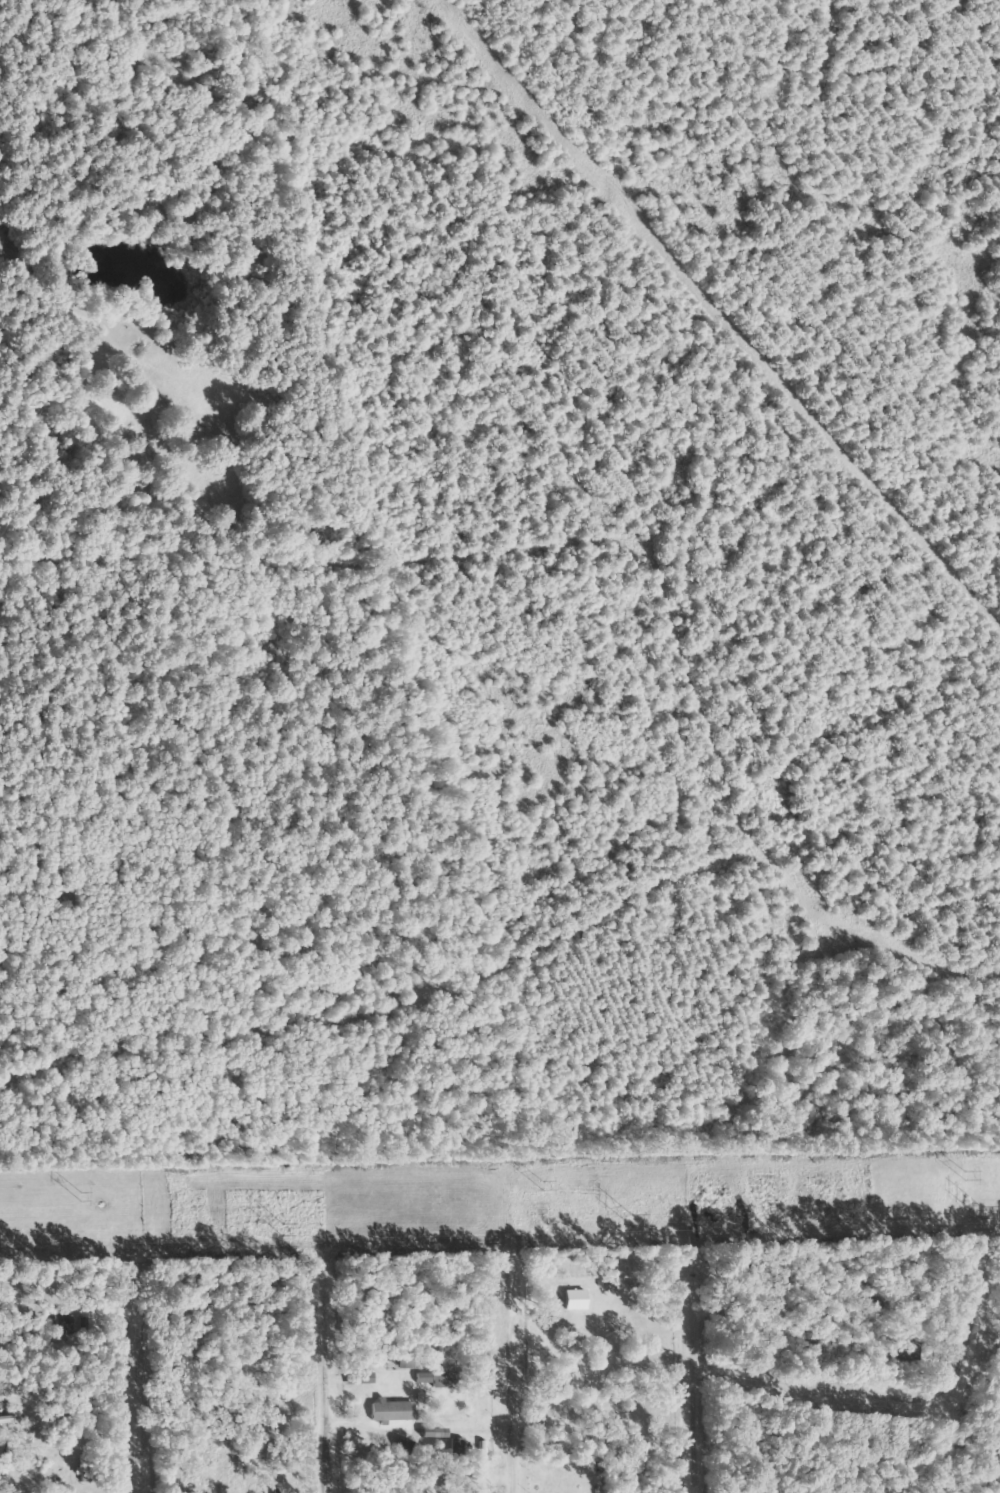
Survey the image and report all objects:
power tower: (961, 1172)
power tower: (537, 1183)
power tower: (72, 1190)
power tower: (976, 1210)
power tower: (626, 1218)
power tower: (275, 1226)
building: (572, 1297)
building: (63, 1317)
building: (903, 1350)
road: (888, 1372)
road: (491, 1375)
building: (446, 1380)
road: (693, 1380)
road: (317, 1383)
road: (133, 1388)
building: (391, 1412)
building: (432, 1433)
building: (402, 1446)
building: (464, 1448)
building: (5, 1459)
building: (83, 1469)
building: (216, 1469)
building: (20, 1470)

